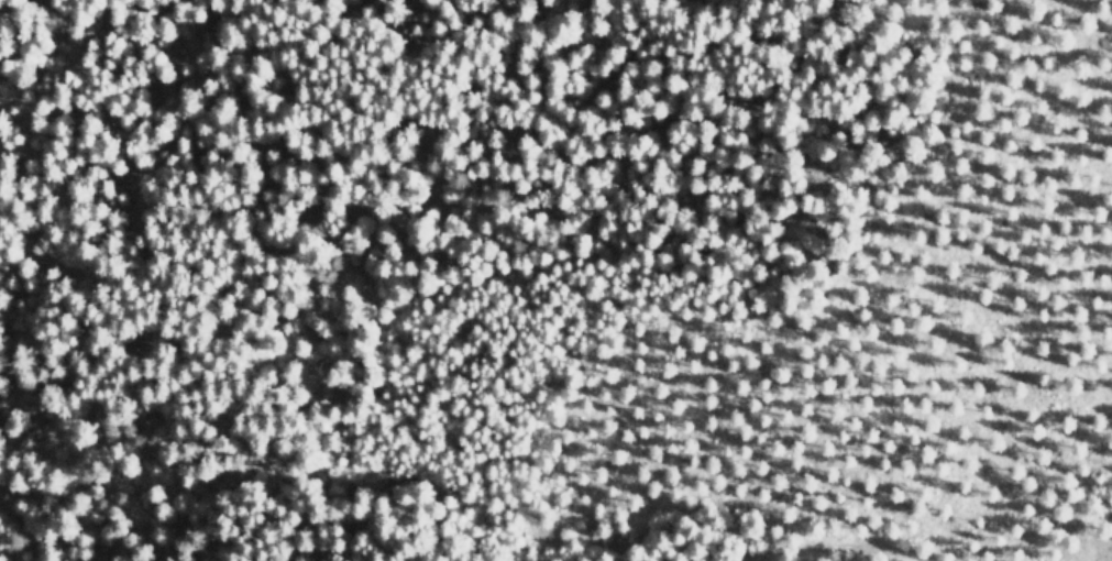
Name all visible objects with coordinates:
road: (835, 549)

